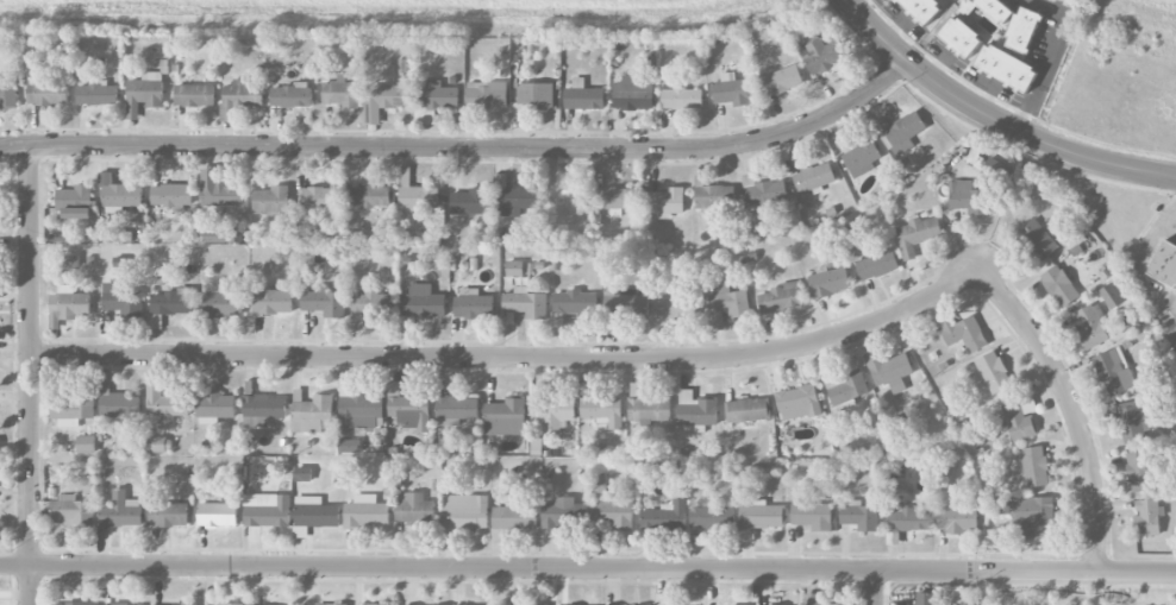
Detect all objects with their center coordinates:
road: (857, 2)
building: (922, 8)
building: (990, 8)
road: (901, 19)
building: (1022, 30)
building: (961, 37)
building: (819, 53)
road: (953, 61)
road: (944, 62)
road: (1049, 62)
building: (1006, 68)
building: (781, 81)
road: (984, 82)
building: (731, 90)
road: (999, 90)
building: (48, 92)
building: (144, 93)
building: (340, 93)
building: (96, 94)
building: (487, 94)
building: (633, 94)
building: (194, 95)
building: (290, 95)
building: (437, 95)
building: (536, 95)
building: (8, 96)
building: (583, 96)
building: (240, 97)
building: (682, 99)
building: (384, 100)
road: (995, 119)
building: (900, 132)
road: (463, 146)
building: (862, 157)
building: (813, 178)
building: (218, 189)
building: (764, 191)
building: (118, 193)
building: (171, 195)
building: (417, 195)
building: (713, 195)
building: (369, 196)
building: (319, 197)
building: (617, 197)
building: (968, 197)
building: (515, 200)
building: (271, 201)
building: (75, 202)
building: (469, 202)
building: (665, 202)
building: (917, 234)
building: (217, 235)
building: (1038, 239)
building: (876, 264)
building: (1164, 264)
building: (514, 269)
building: (828, 282)
building: (1059, 285)
building: (1111, 295)
building: (780, 298)
building: (123, 300)
building: (171, 302)
building: (273, 302)
building: (324, 302)
building: (575, 302)
building: (221, 303)
building: (525, 303)
building: (371, 304)
building: (420, 304)
building: (473, 304)
building: (68, 305)
building: (727, 305)
building: (626, 307)
building: (677, 307)
building: (1091, 326)
building: (962, 332)
road: (515, 359)
building: (889, 371)
building: (1114, 371)
building: (993, 372)
road: (30, 374)
building: (849, 389)
building: (797, 402)
building: (118, 403)
building: (163, 408)
building: (215, 408)
building: (457, 408)
road: (1072, 409)
building: (70, 410)
building: (262, 410)
building: (649, 410)
building: (747, 410)
building: (602, 411)
building: (311, 412)
building: (361, 412)
building: (411, 412)
building: (696, 412)
building: (551, 415)
building: (506, 417)
building: (1126, 420)
building: (1019, 422)
building: (86, 445)
building: (159, 445)
building: (349, 446)
building: (1034, 466)
building: (1139, 471)
building: (302, 474)
building: (599, 483)
building: (414, 509)
building: (267, 510)
building: (71, 511)
building: (121, 511)
building: (365, 511)
building: (314, 512)
building: (559, 512)
building: (168, 513)
building: (463, 513)
building: (217, 515)
building: (613, 515)
building: (712, 516)
building: (762, 516)
building: (813, 516)
building: (858, 516)
building: (1032, 516)
building: (514, 517)
building: (665, 517)
building: (908, 518)
building: (957, 518)
building: (1147, 518)
road: (588, 568)
road: (875, 587)
park: (1071, 595)
building: (926, 598)
building: (813, 599)
building: (73, 604)
building: (120, 604)
building: (187, 604)
building: (232, 604)
building: (330, 604)

